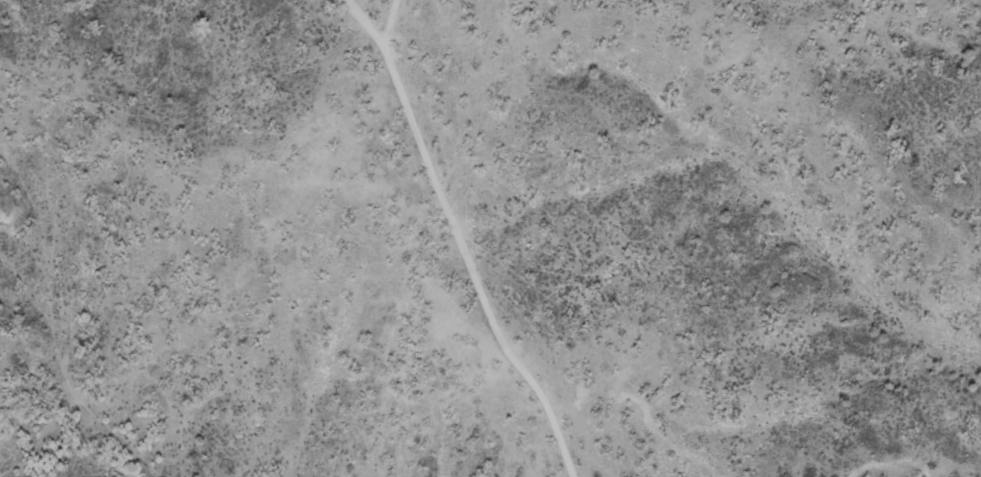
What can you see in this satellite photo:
road: (461, 237)

